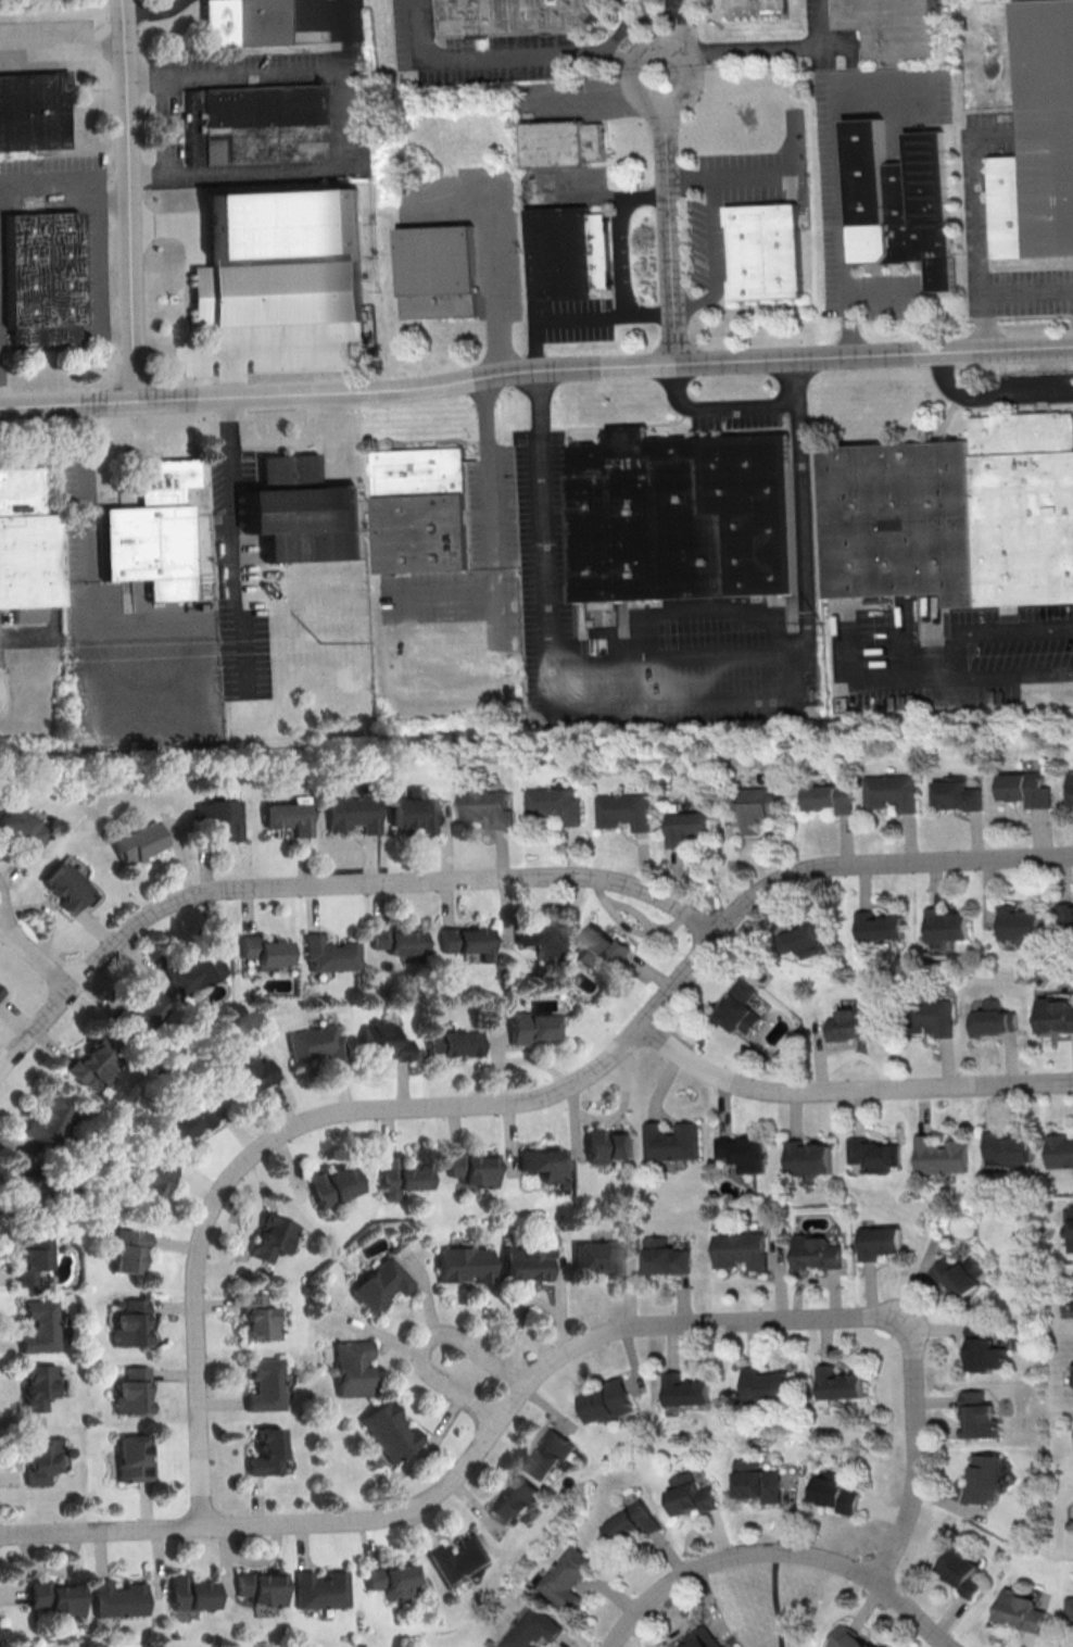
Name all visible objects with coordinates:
building: (762, 8)
road: (149, 11)
building: (518, 17)
building: (240, 23)
road: (824, 24)
road: (635, 25)
building: (897, 25)
road: (685, 26)
road: (62, 45)
road: (661, 45)
road: (769, 50)
road: (502, 56)
building: (33, 112)
road: (349, 117)
building: (254, 125)
building: (566, 142)
building: (1040, 143)
road: (729, 174)
road: (841, 176)
road: (129, 199)
building: (905, 202)
road: (91, 231)
road: (669, 231)
road: (494, 246)
building: (769, 251)
building: (570, 252)
road: (617, 257)
road: (712, 257)
building: (440, 273)
building: (40, 280)
road: (1002, 292)
road: (881, 294)
building: (277, 296)
road: (557, 317)
road: (270, 349)
road: (535, 368)
road: (987, 399)
road: (712, 408)
road: (226, 454)
road: (488, 465)
building: (290, 472)
road: (86, 482)
building: (424, 510)
building: (956, 514)
building: (684, 517)
building: (306, 524)
building: (154, 531)
building: (27, 542)
road: (233, 596)
road: (704, 611)
power tower: (878, 624)
road: (901, 643)
power tower: (283, 649)
road: (946, 656)
road: (674, 657)
road: (873, 677)
road: (680, 700)
building: (1071, 785)
building: (1025, 788)
building: (889, 791)
building: (958, 793)
building: (829, 797)
building: (553, 804)
building: (487, 807)
building: (759, 807)
building: (622, 809)
building: (412, 810)
building: (352, 813)
building: (289, 815)
building: (219, 816)
building: (685, 826)
building: (23, 828)
building: (138, 842)
road: (325, 885)
building: (67, 887)
building: (1066, 910)
building: (1020, 922)
building: (946, 923)
building: (879, 926)
building: (542, 938)
building: (805, 938)
building: (468, 941)
building: (399, 942)
building: (262, 950)
building: (602, 950)
road: (37, 953)
building: (329, 954)
building: (193, 967)
building: (1, 991)
building: (740, 1007)
building: (1056, 1014)
building: (926, 1015)
building: (142, 1016)
building: (995, 1017)
building: (851, 1021)
building: (531, 1026)
building: (383, 1042)
building: (316, 1043)
building: (454, 1043)
building: (90, 1065)
building: (247, 1074)
road: (847, 1089)
road: (508, 1101)
building: (50, 1120)
building: (188, 1121)
building: (670, 1141)
building: (607, 1145)
building: (1010, 1147)
building: (1060, 1149)
building: (872, 1152)
building: (741, 1153)
building: (942, 1155)
building: (807, 1156)
building: (544, 1164)
building: (471, 1169)
building: (397, 1177)
building: (152, 1181)
building: (21, 1185)
building: (331, 1185)
building: (1070, 1227)
building: (270, 1237)
building: (879, 1241)
building: (741, 1248)
building: (126, 1249)
building: (30, 1252)
building: (818, 1252)
building: (666, 1256)
building: (597, 1257)
building: (525, 1261)
building: (462, 1263)
building: (961, 1274)
building: (380, 1284)
building: (257, 1318)
building: (128, 1323)
building: (37, 1325)
road: (427, 1344)
building: (986, 1348)
road: (555, 1357)
building: (351, 1368)
building: (1071, 1374)
building: (841, 1383)
building: (265, 1384)
building: (767, 1384)
building: (35, 1385)
building: (689, 1390)
building: (129, 1392)
building: (610, 1400)
building: (981, 1415)
building: (387, 1431)
building: (266, 1453)
building: (553, 1453)
building: (37, 1458)
building: (130, 1459)
building: (985, 1478)
building: (757, 1480)
building: (837, 1493)
building: (692, 1495)
building: (518, 1499)
building: (633, 1521)
road: (778, 1552)
building: (459, 1559)
building: (963, 1570)
building: (567, 1577)
building: (392, 1581)
building: (258, 1588)
building: (319, 1589)
building: (188, 1594)
building: (116, 1598)
building: (53, 1599)
road: (777, 1599)
building: (1022, 1609)
building: (1070, 1611)
building: (531, 1627)
building: (851, 1637)
building: (699, 1638)

